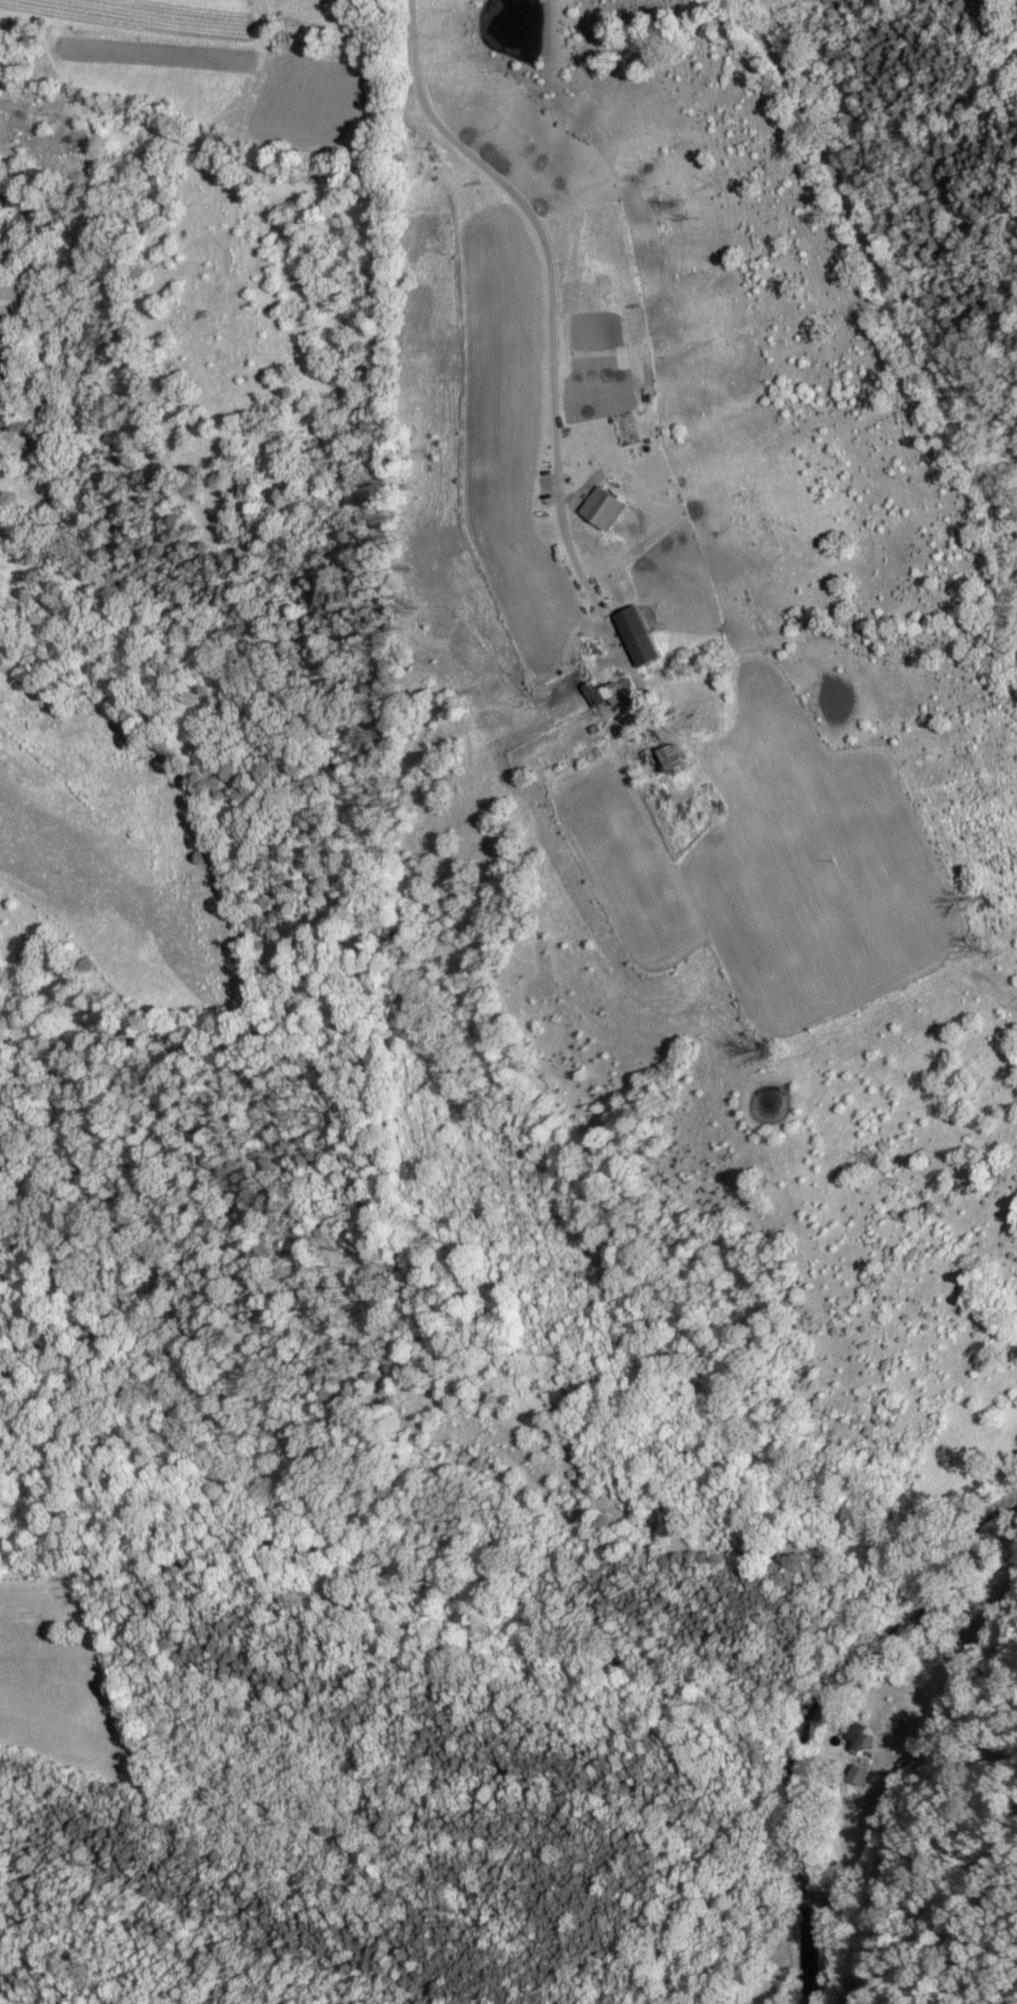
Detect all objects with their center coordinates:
road: (885, 264)
road: (547, 317)
building: (604, 509)
building: (639, 637)
building: (609, 693)
building: (670, 767)
building: (856, 1740)
building: (858, 1778)
road: (918, 1807)

